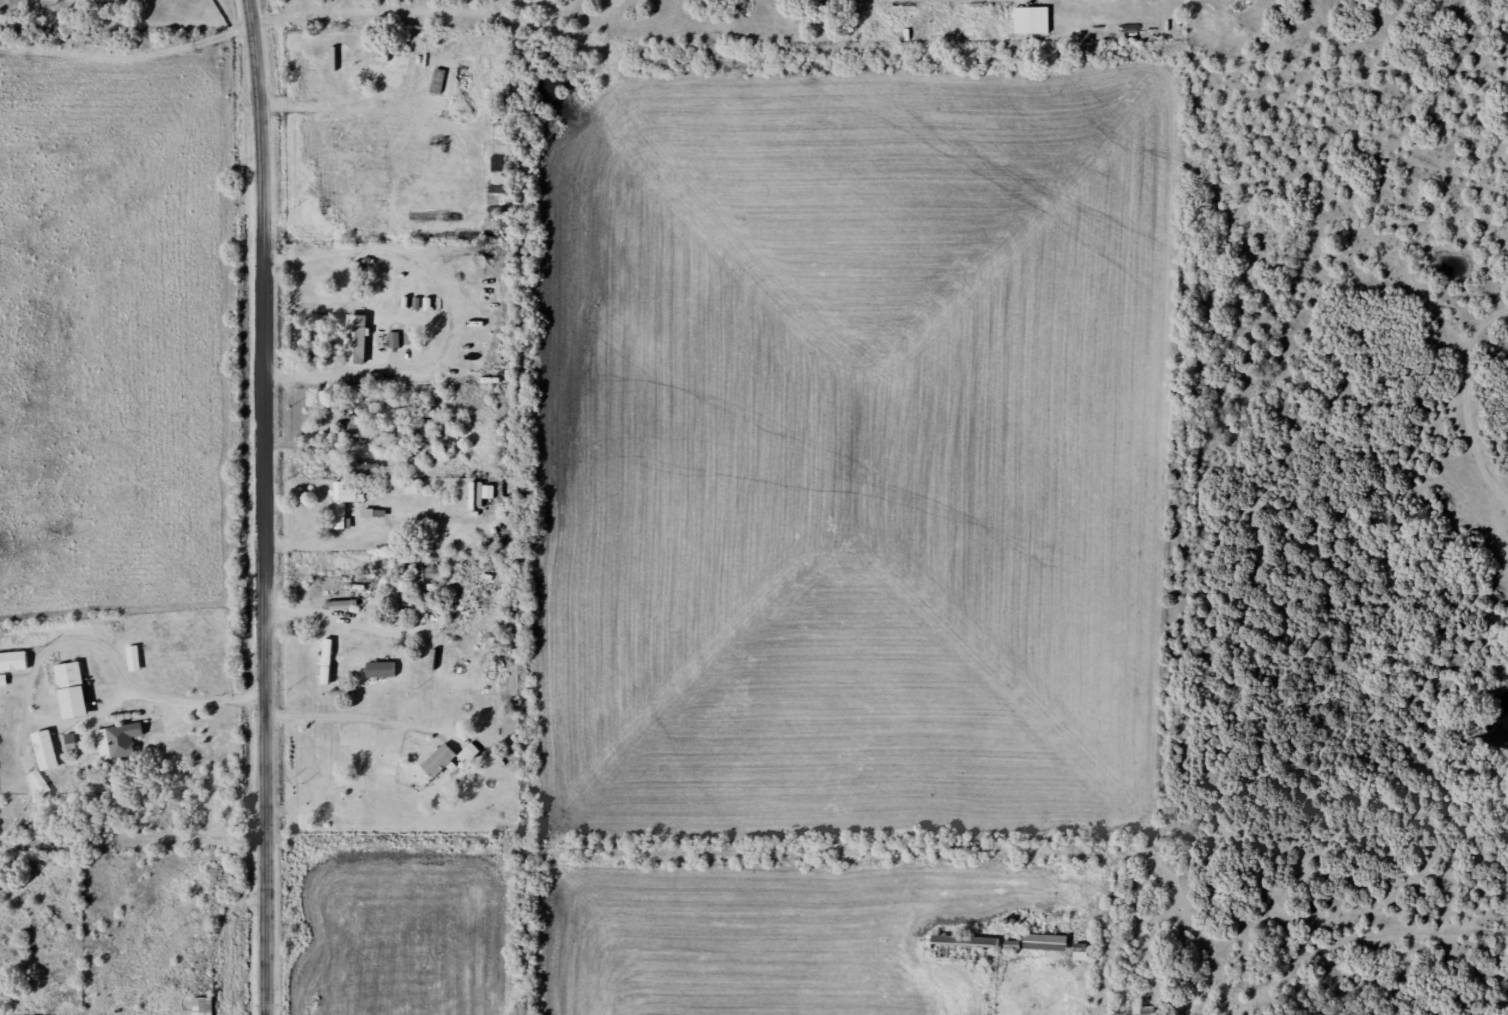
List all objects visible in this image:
building: (1030, 25)
building: (381, 75)
building: (360, 347)
building: (438, 426)
building: (353, 428)
building: (363, 473)
building: (344, 505)
road: (265, 507)
building: (133, 661)
building: (326, 664)
building: (13, 665)
building: (380, 672)
building: (71, 693)
building: (117, 744)
building: (45, 753)
building: (438, 763)
building: (39, 785)
road: (781, 859)
road: (133, 863)
building: (964, 944)
building: (1044, 945)
building: (202, 1007)
building: (1143, 1012)

